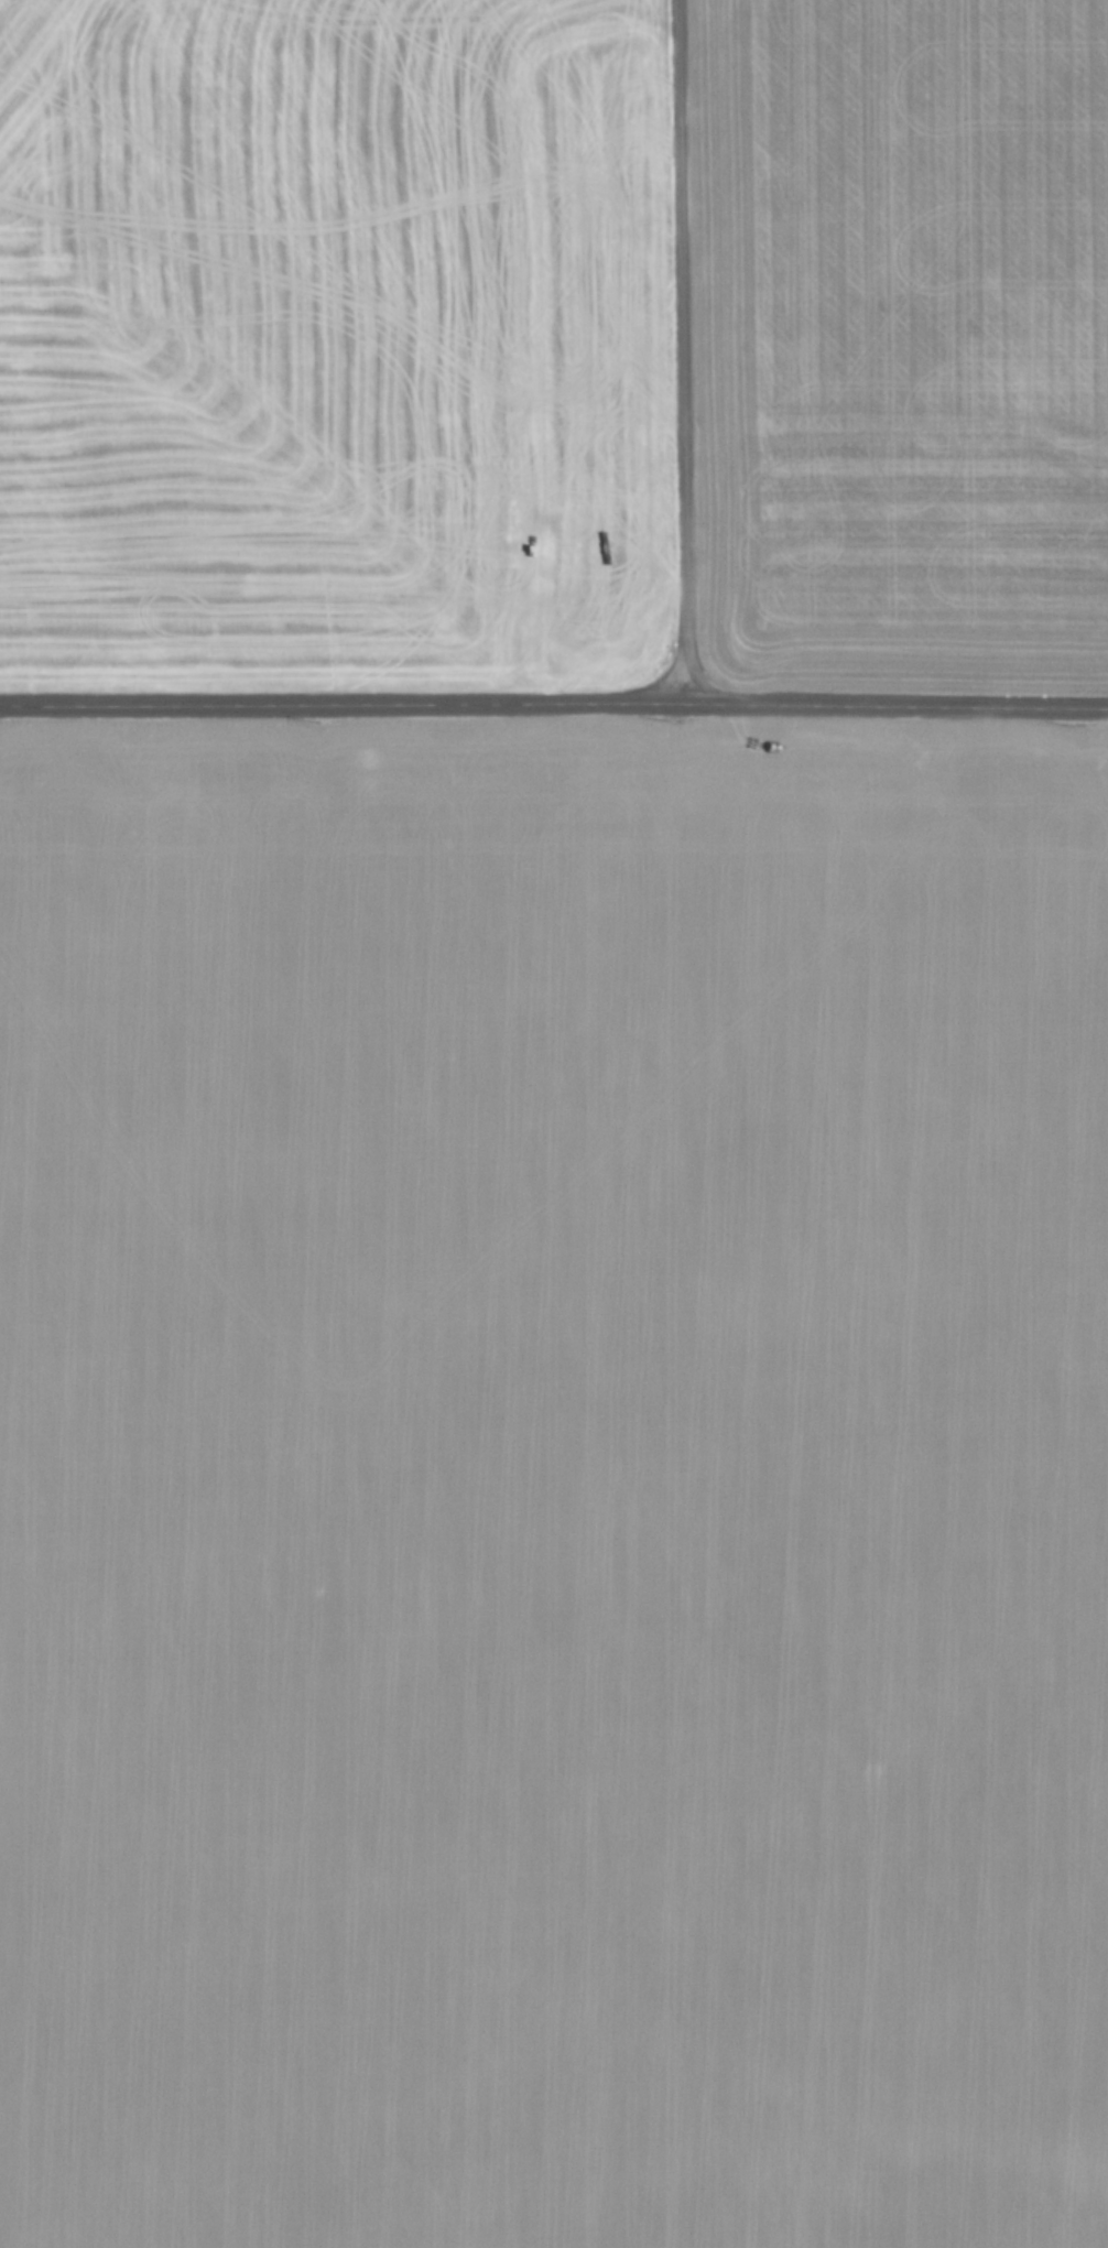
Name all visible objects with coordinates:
road: (677, 350)
road: (554, 702)

